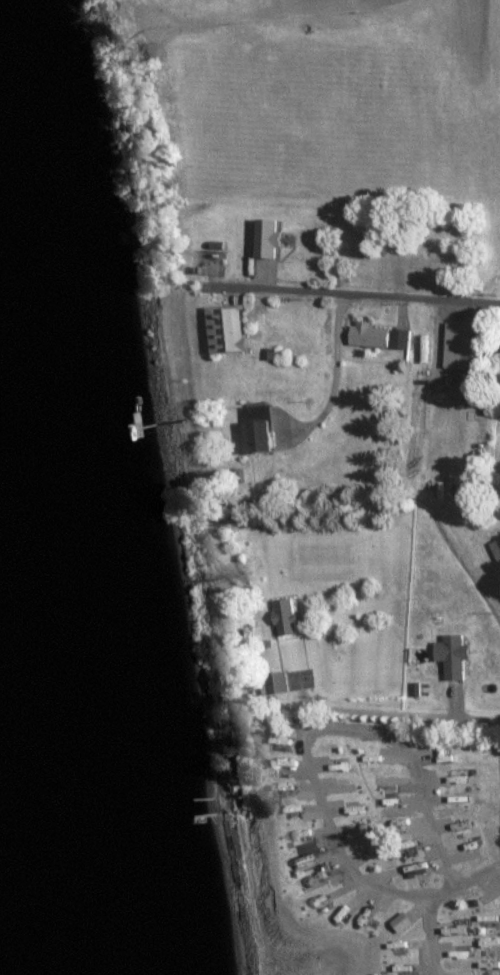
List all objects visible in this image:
building: (271, 236)
building: (425, 259)
road: (374, 295)
building: (228, 329)
building: (382, 336)
building: (469, 345)
building: (479, 387)
building: (261, 436)
building: (497, 549)
building: (289, 619)
building: (456, 656)
building: (281, 684)

